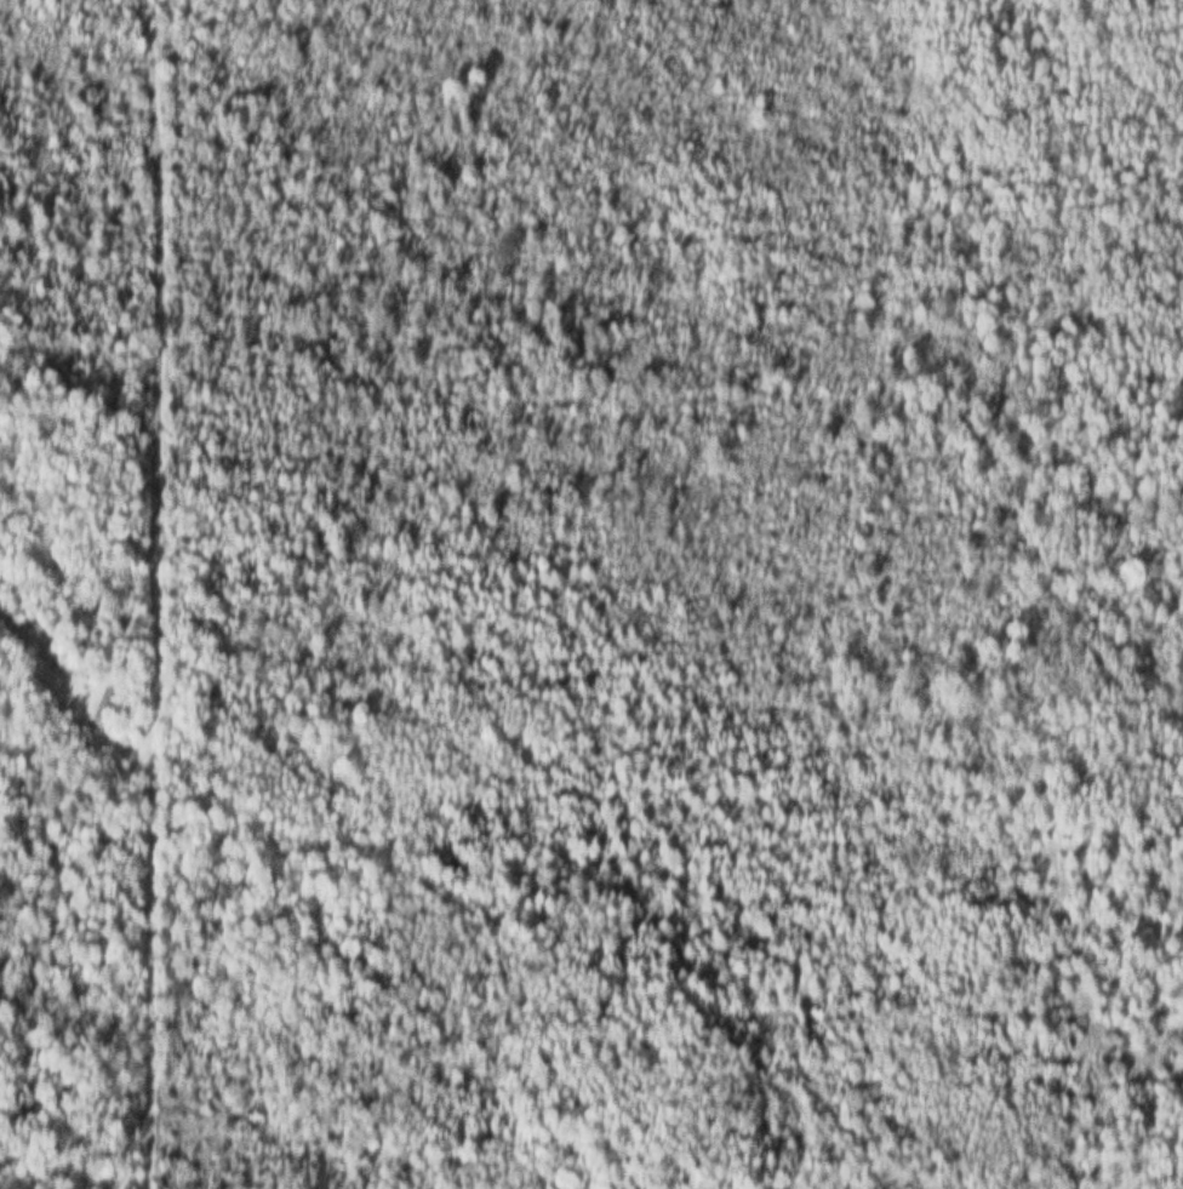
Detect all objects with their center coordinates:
road: (154, 594)
building: (103, 708)

